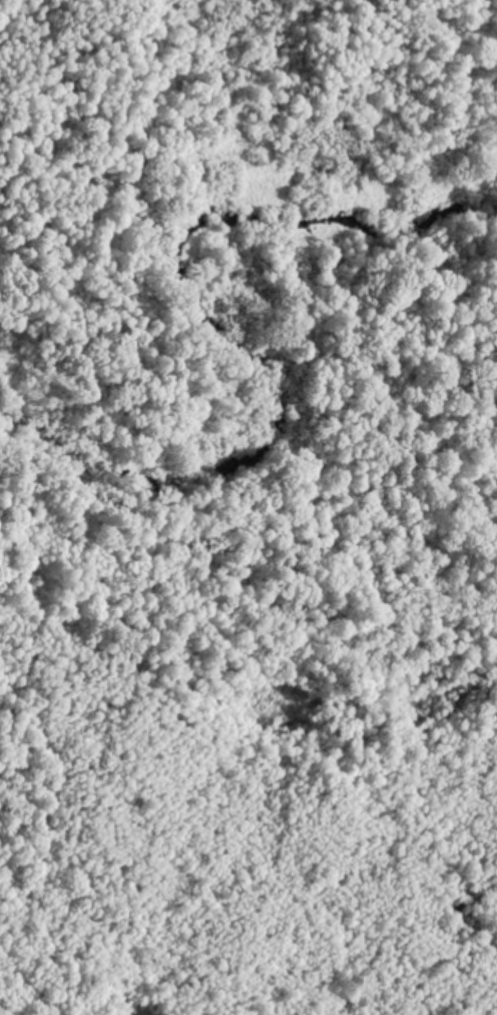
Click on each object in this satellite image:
river: (265, 359)

